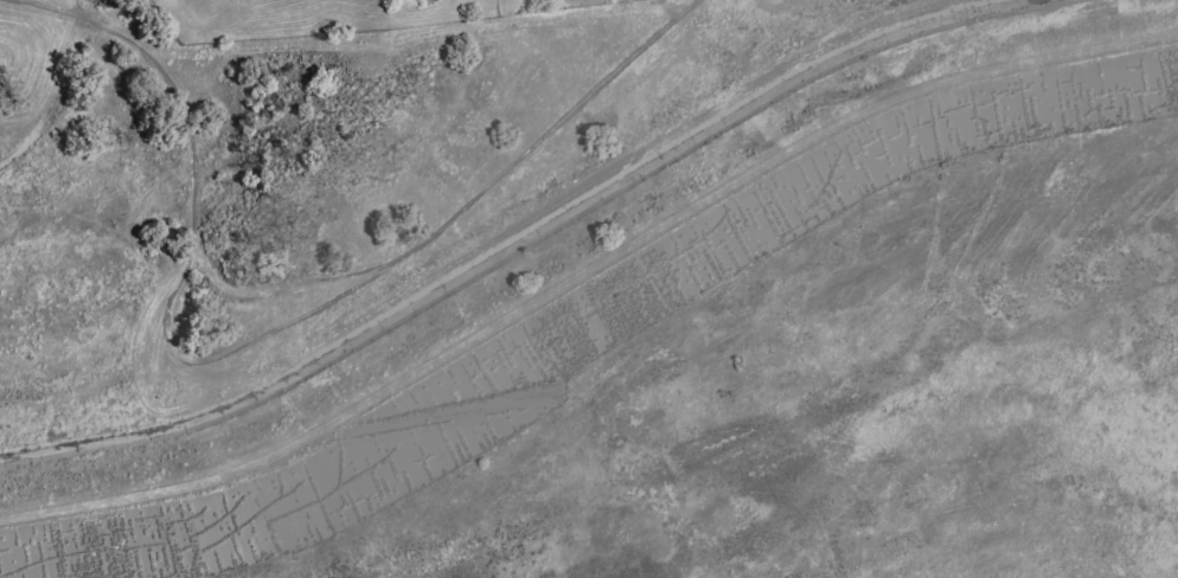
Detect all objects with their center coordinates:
road: (36, 5)
road: (587, 272)
road: (274, 290)
road: (292, 321)

